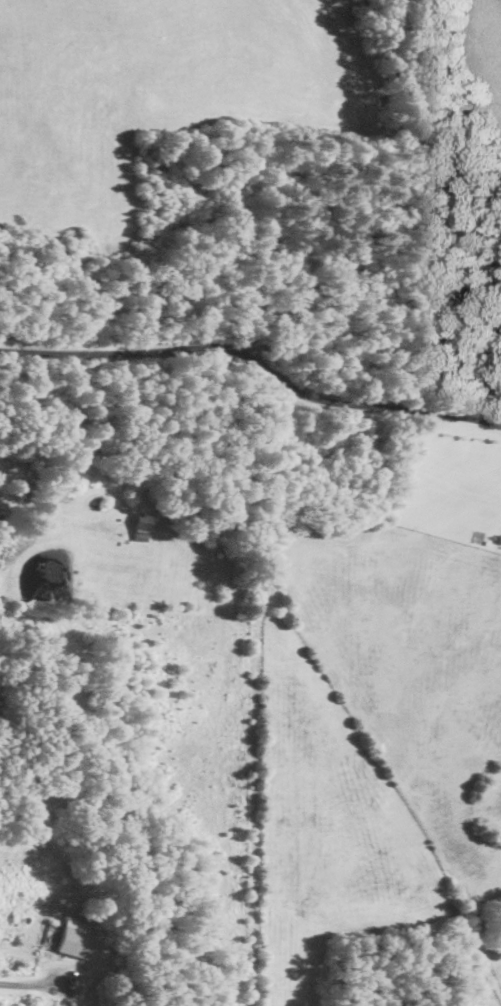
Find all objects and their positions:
road: (255, 360)
building: (65, 941)
road: (28, 984)

